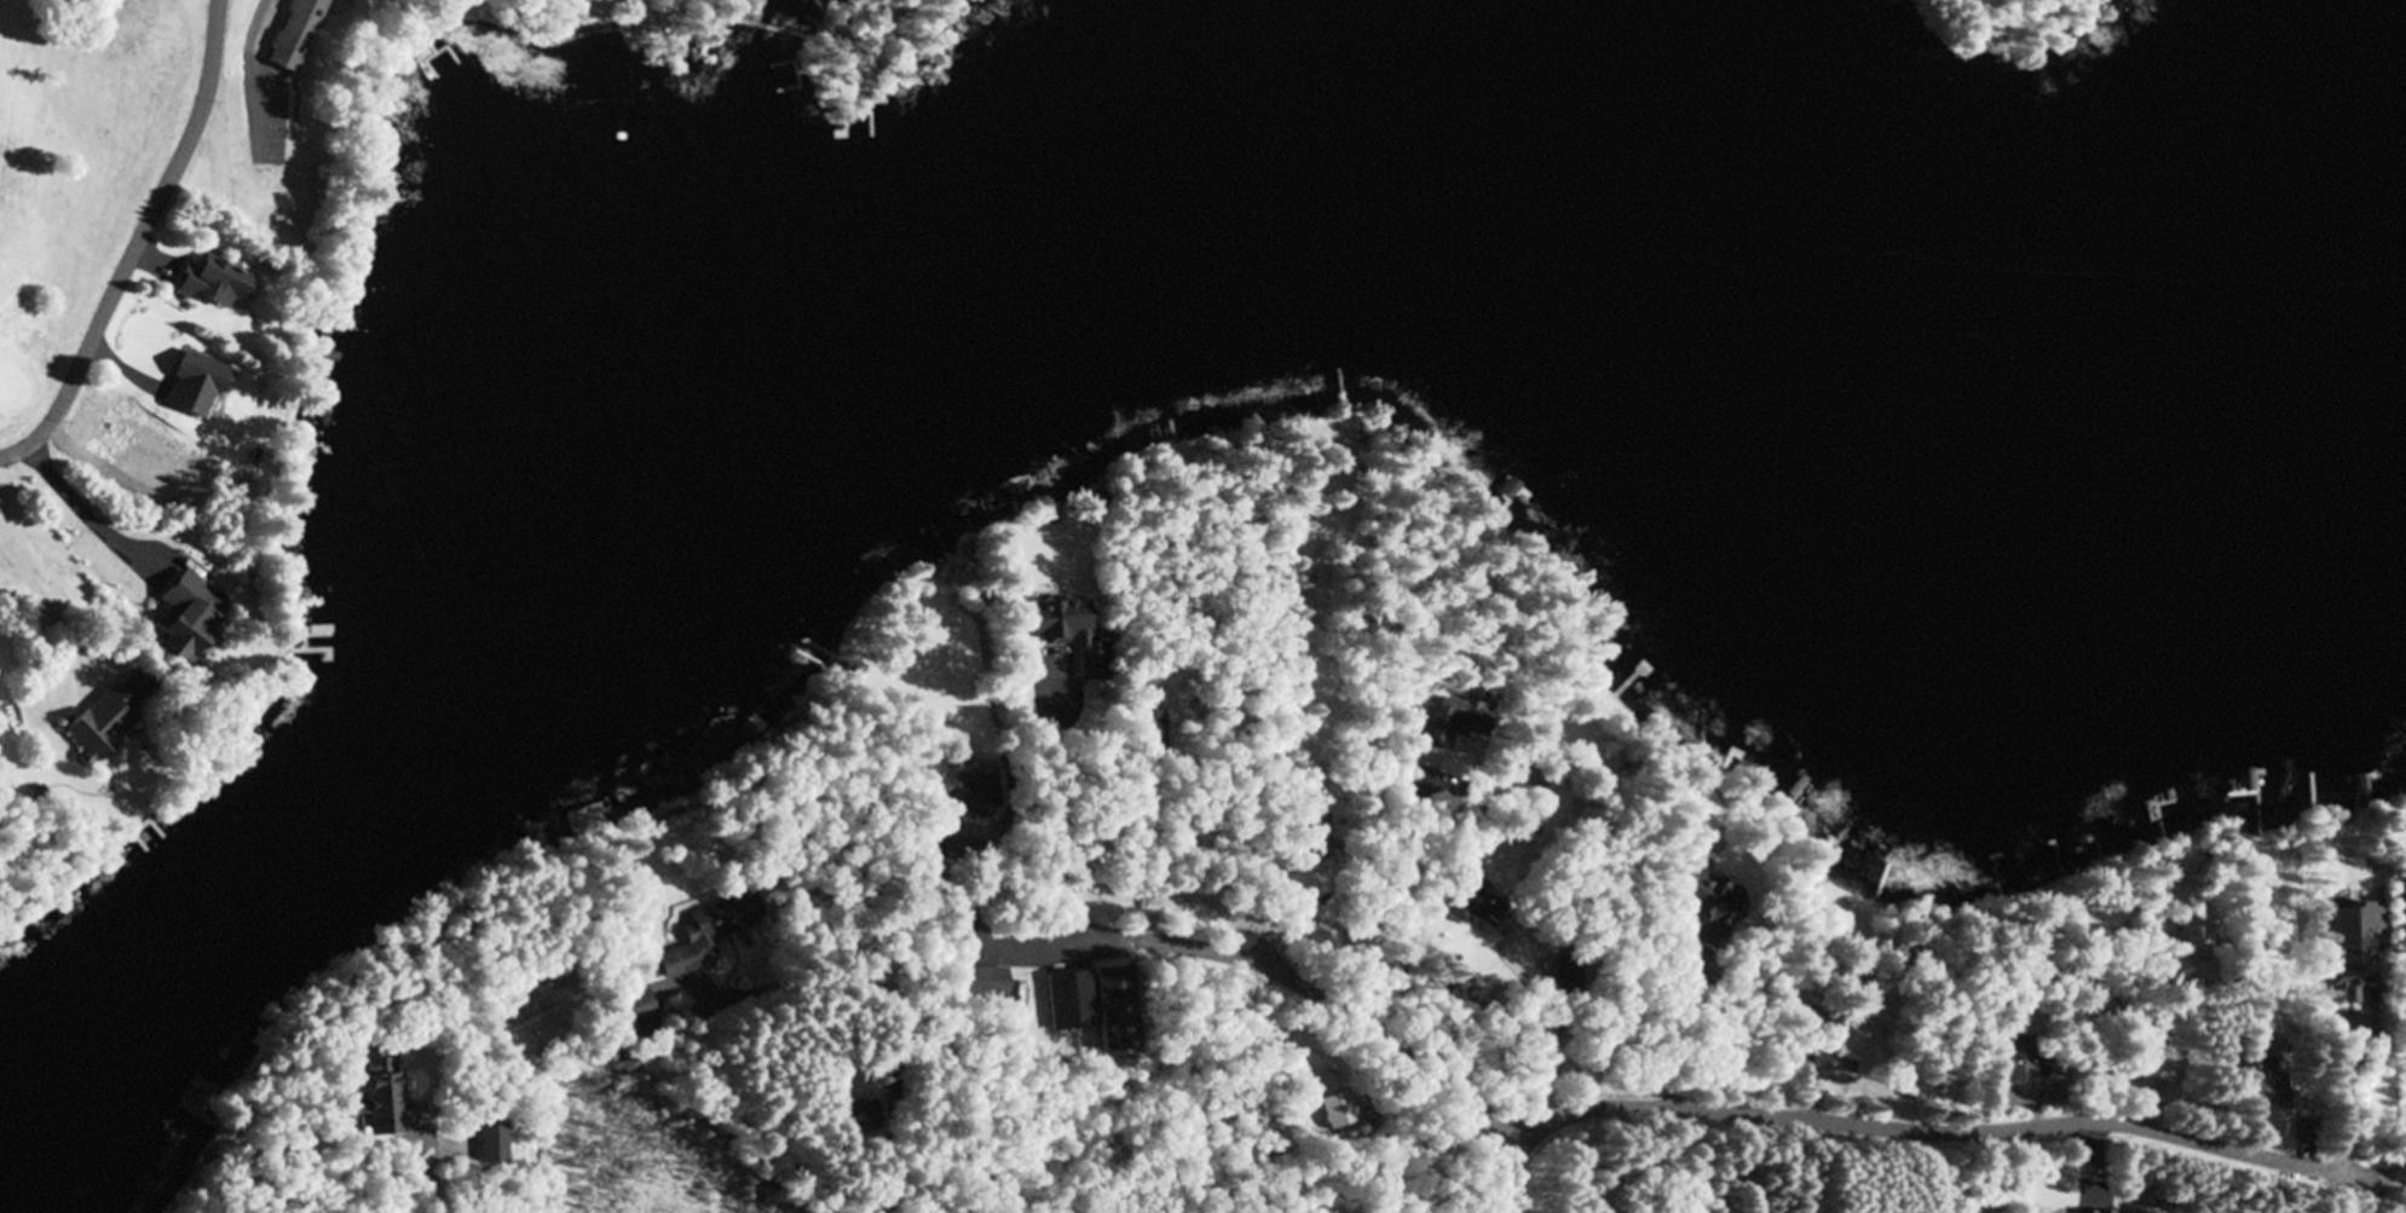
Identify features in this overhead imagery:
building: (288, 35)
road: (253, 75)
river: (1109, 226)
park: (70, 229)
road: (139, 246)
building: (202, 282)
building: (185, 385)
building: (1066, 634)
building: (98, 721)
building: (1443, 723)
building: (1148, 735)
building: (1517, 773)
building: (2360, 785)
building: (967, 792)
building: (579, 820)
building: (1306, 839)
building: (2404, 879)
building: (1702, 897)
building: (1470, 903)
building: (2189, 936)
building: (698, 938)
road: (1275, 971)
building: (979, 983)
building: (1067, 1000)
building: (630, 1012)
building: (1853, 1047)
building: (2260, 1084)
building: (1990, 1092)
building: (375, 1093)
building: (1334, 1111)
building: (858, 1116)
road: (1932, 1126)
road: (437, 1185)
road: (892, 1188)

